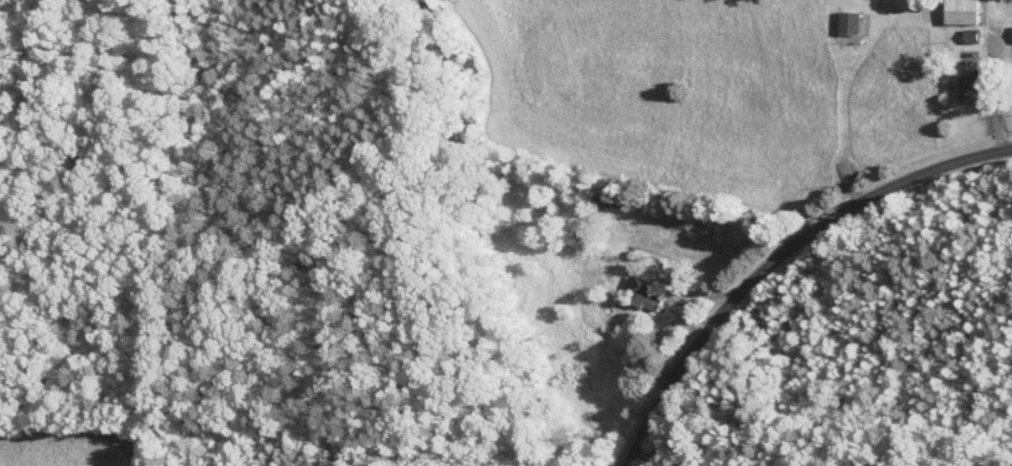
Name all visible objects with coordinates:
building: (959, 11)
building: (847, 23)
building: (968, 36)
building: (967, 86)
road: (778, 256)
building: (641, 293)
road: (82, 427)
road: (652, 457)

